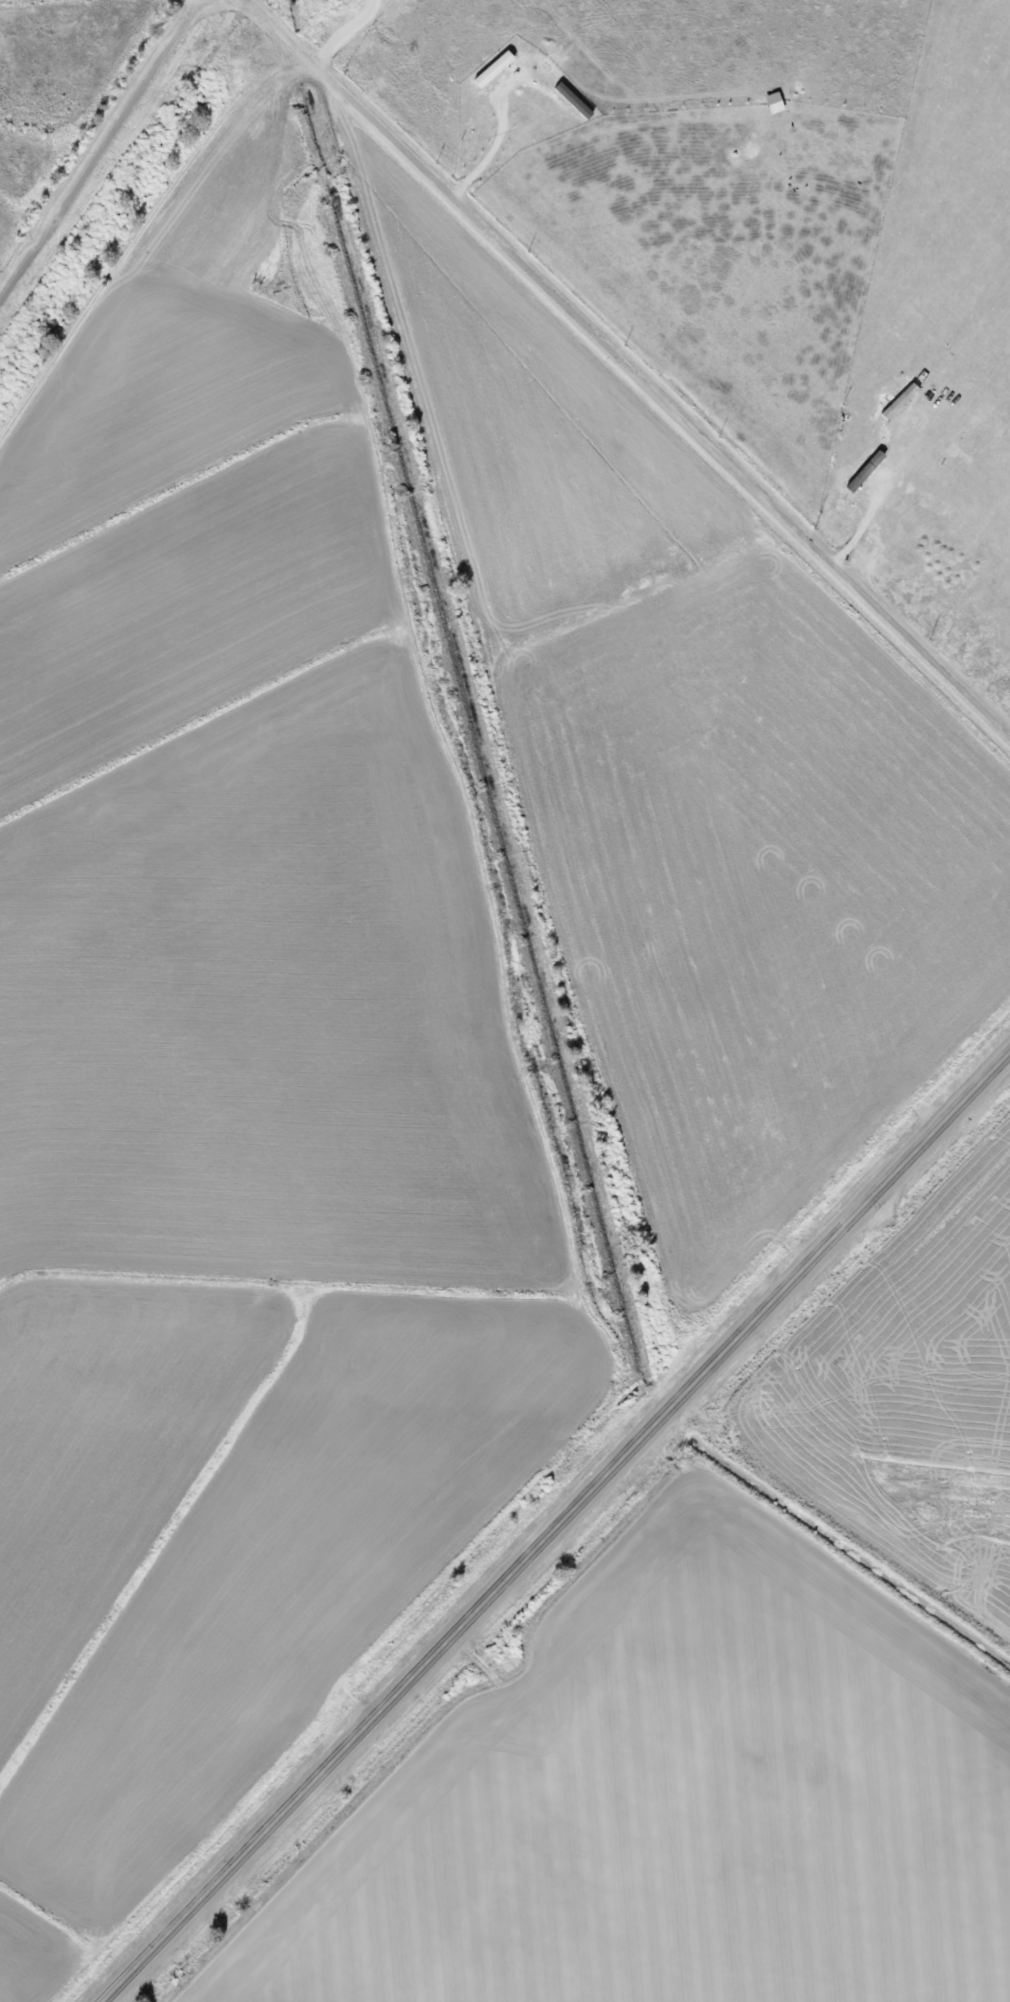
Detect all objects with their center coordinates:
road: (299, 66)
road: (96, 145)
road: (613, 363)
road: (559, 1524)

